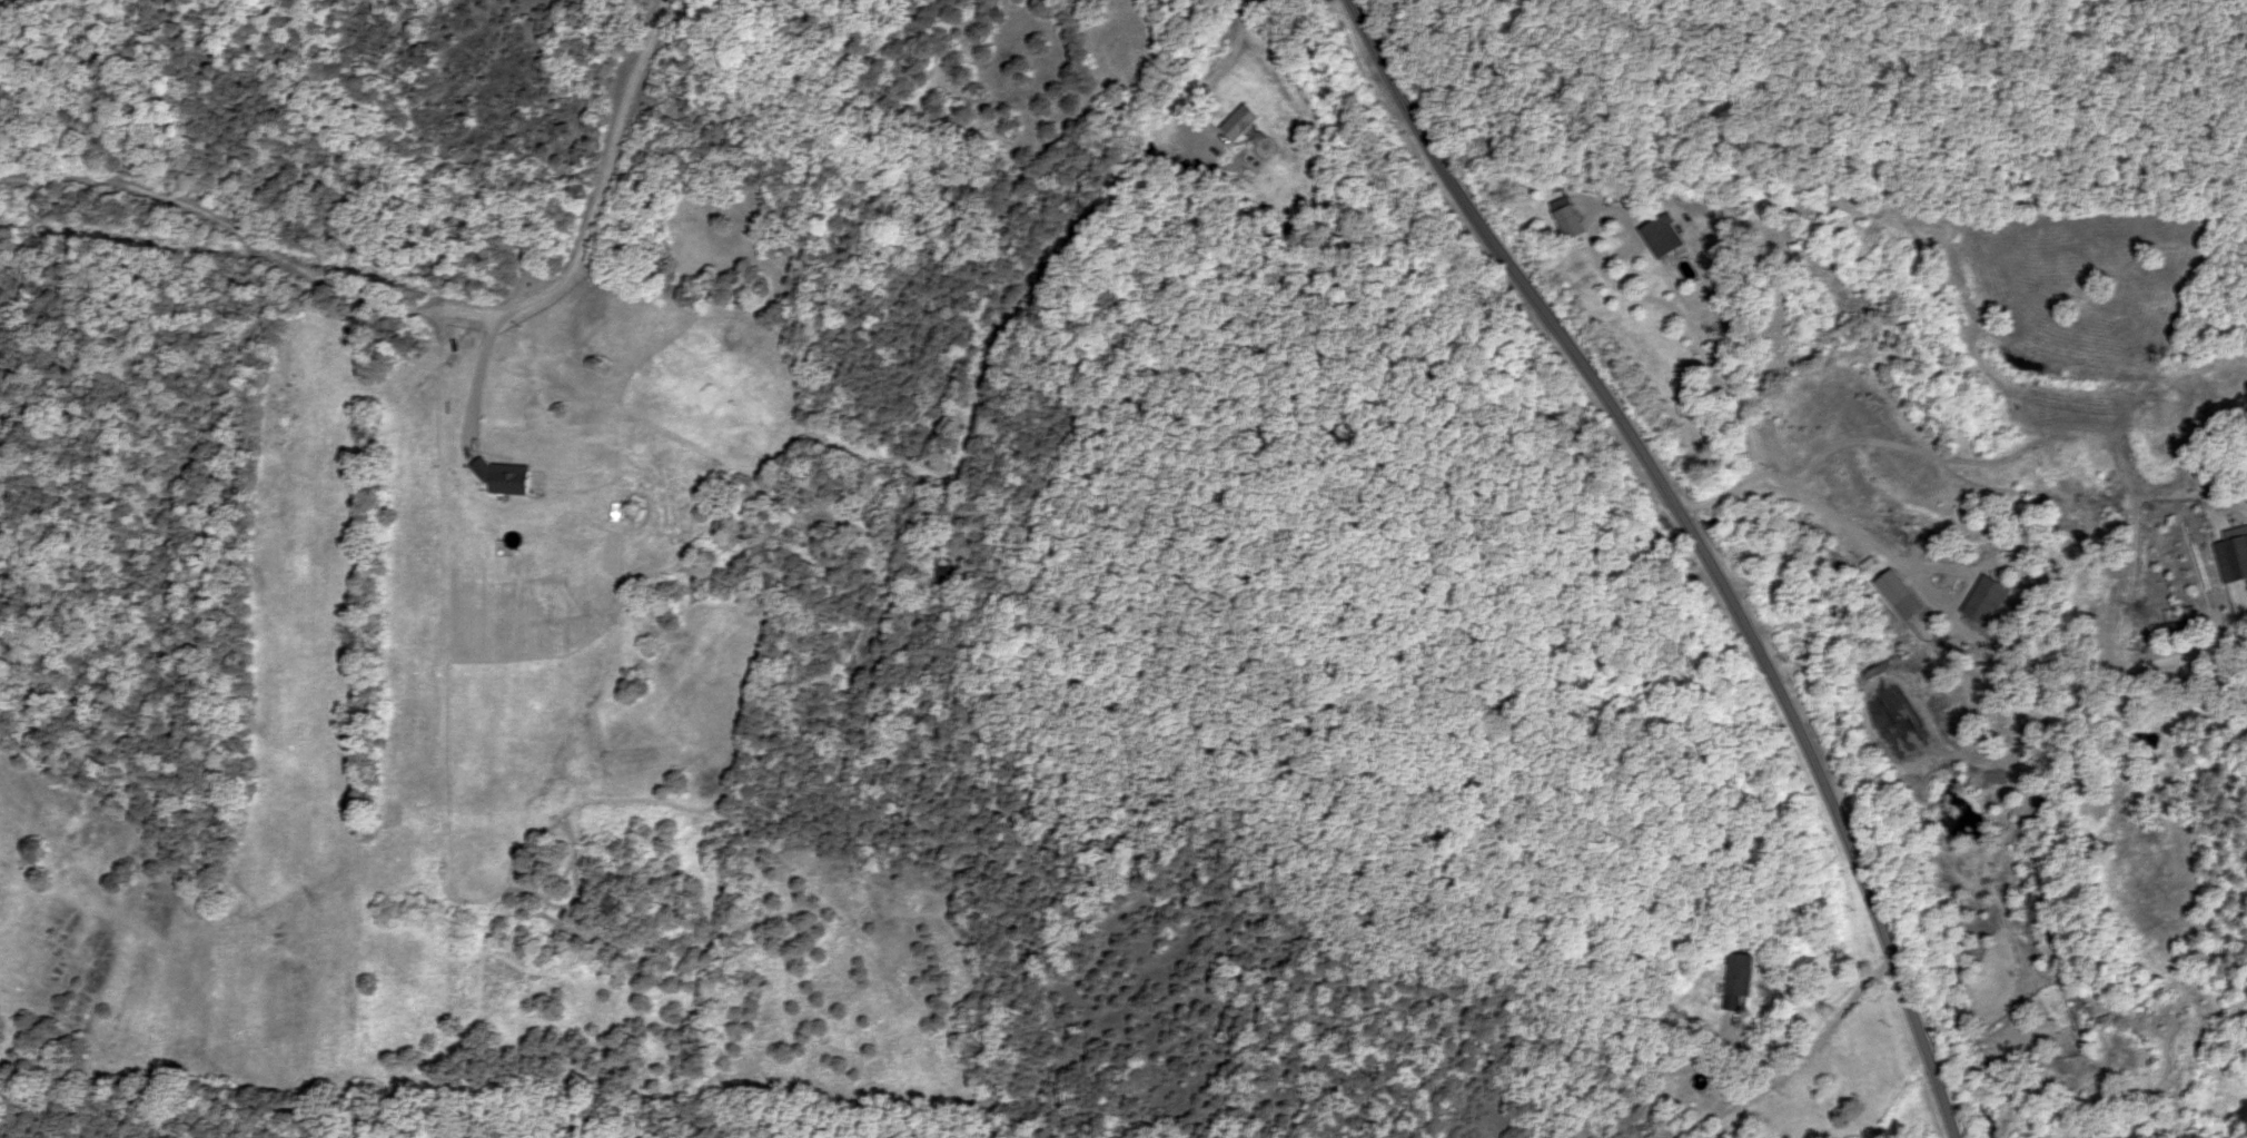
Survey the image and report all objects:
park: (1793, 90)
road: (1286, 103)
building: (1239, 123)
building: (1572, 218)
road: (1029, 231)
building: (1666, 237)
road: (1735, 394)
road: (1700, 543)
building: (2235, 557)
building: (946, 571)
building: (1903, 595)
building: (1986, 601)
building: (2186, 629)
building: (1740, 982)
road: (1818, 1042)
building: (1683, 1066)

